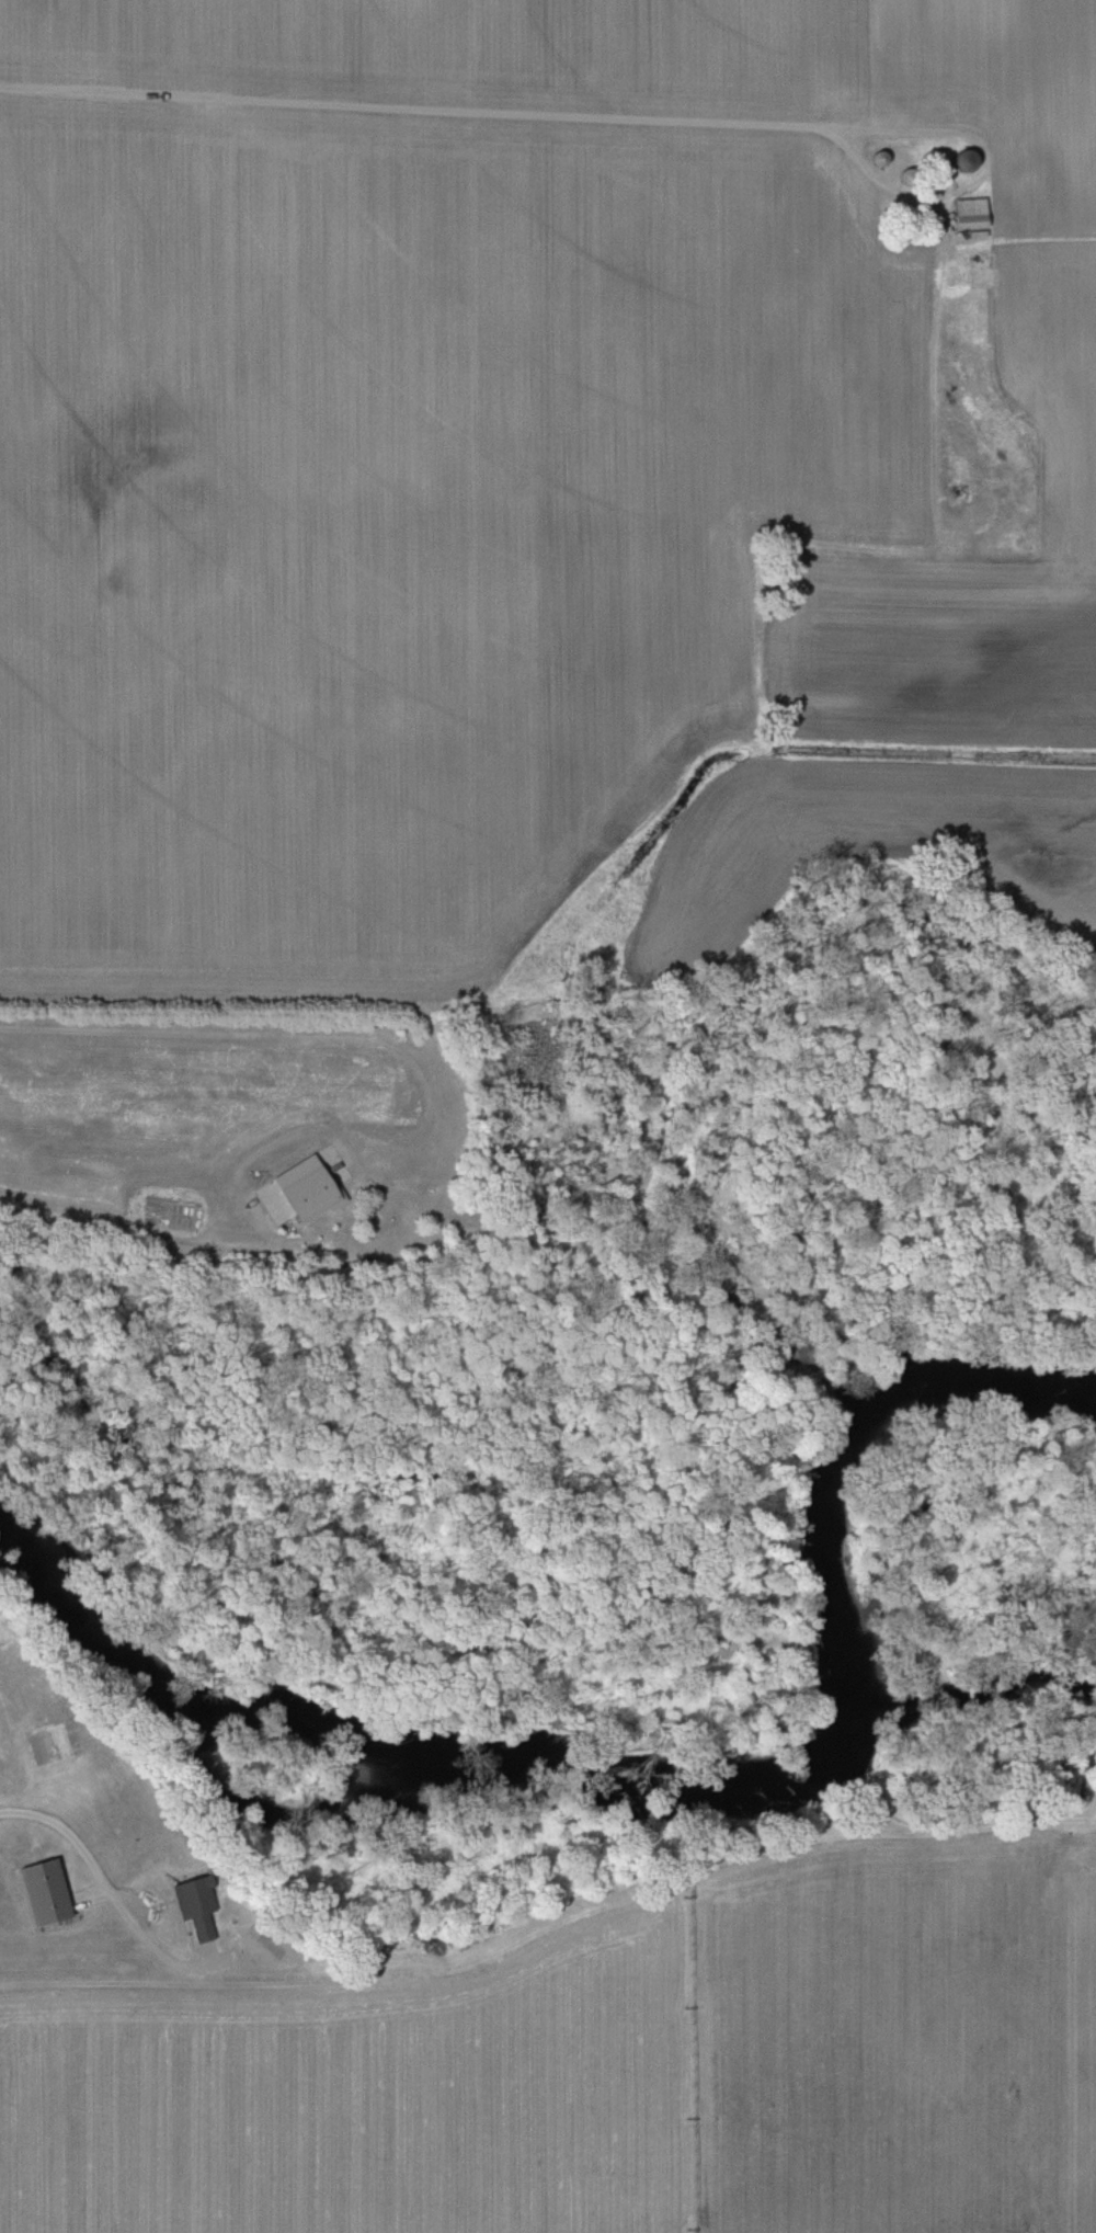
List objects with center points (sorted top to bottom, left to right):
road: (423, 107)
building: (876, 159)
building: (962, 161)
building: (1019, 182)
building: (967, 213)
road: (121, 1173)
river: (659, 1773)
road: (76, 1842)
building: (39, 1891)
building: (193, 1904)

